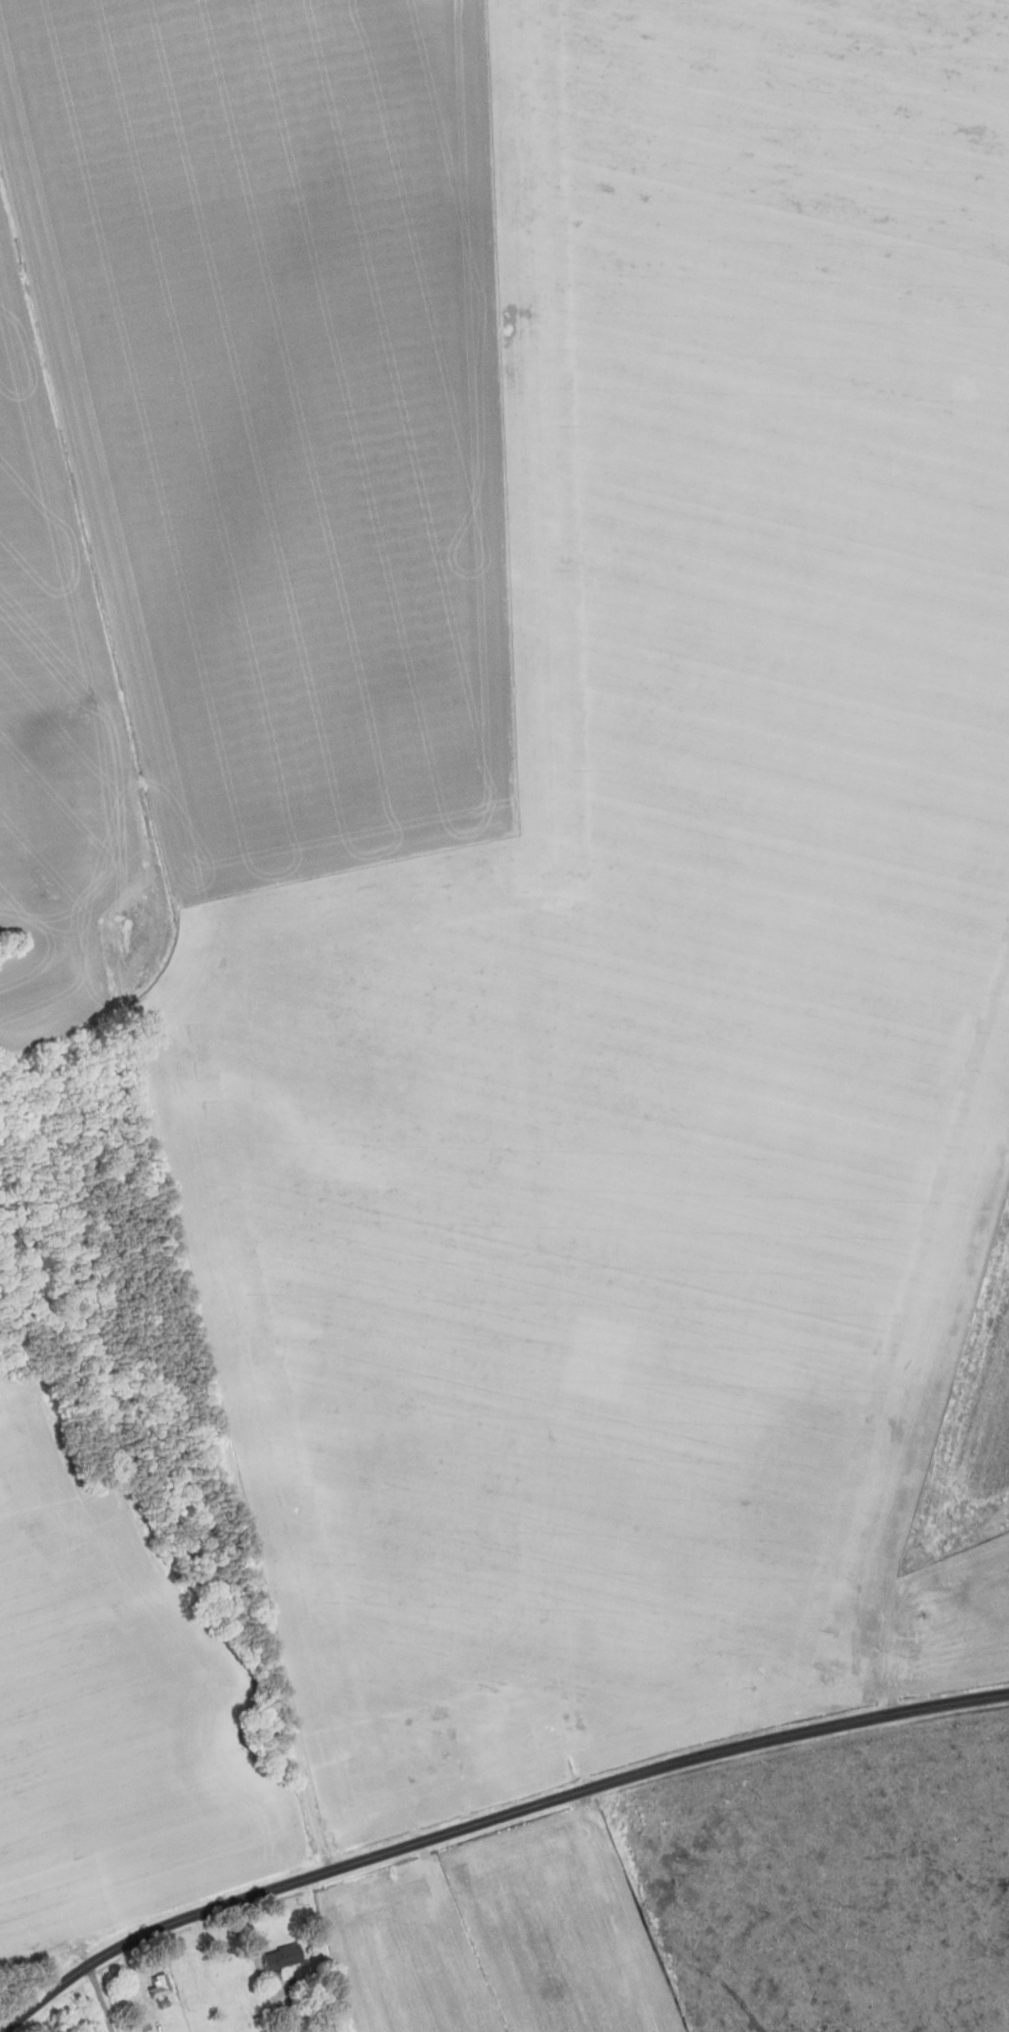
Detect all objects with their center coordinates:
road: (206, 1346)
road: (491, 1821)
building: (277, 1960)
building: (160, 1990)
road: (100, 1999)

